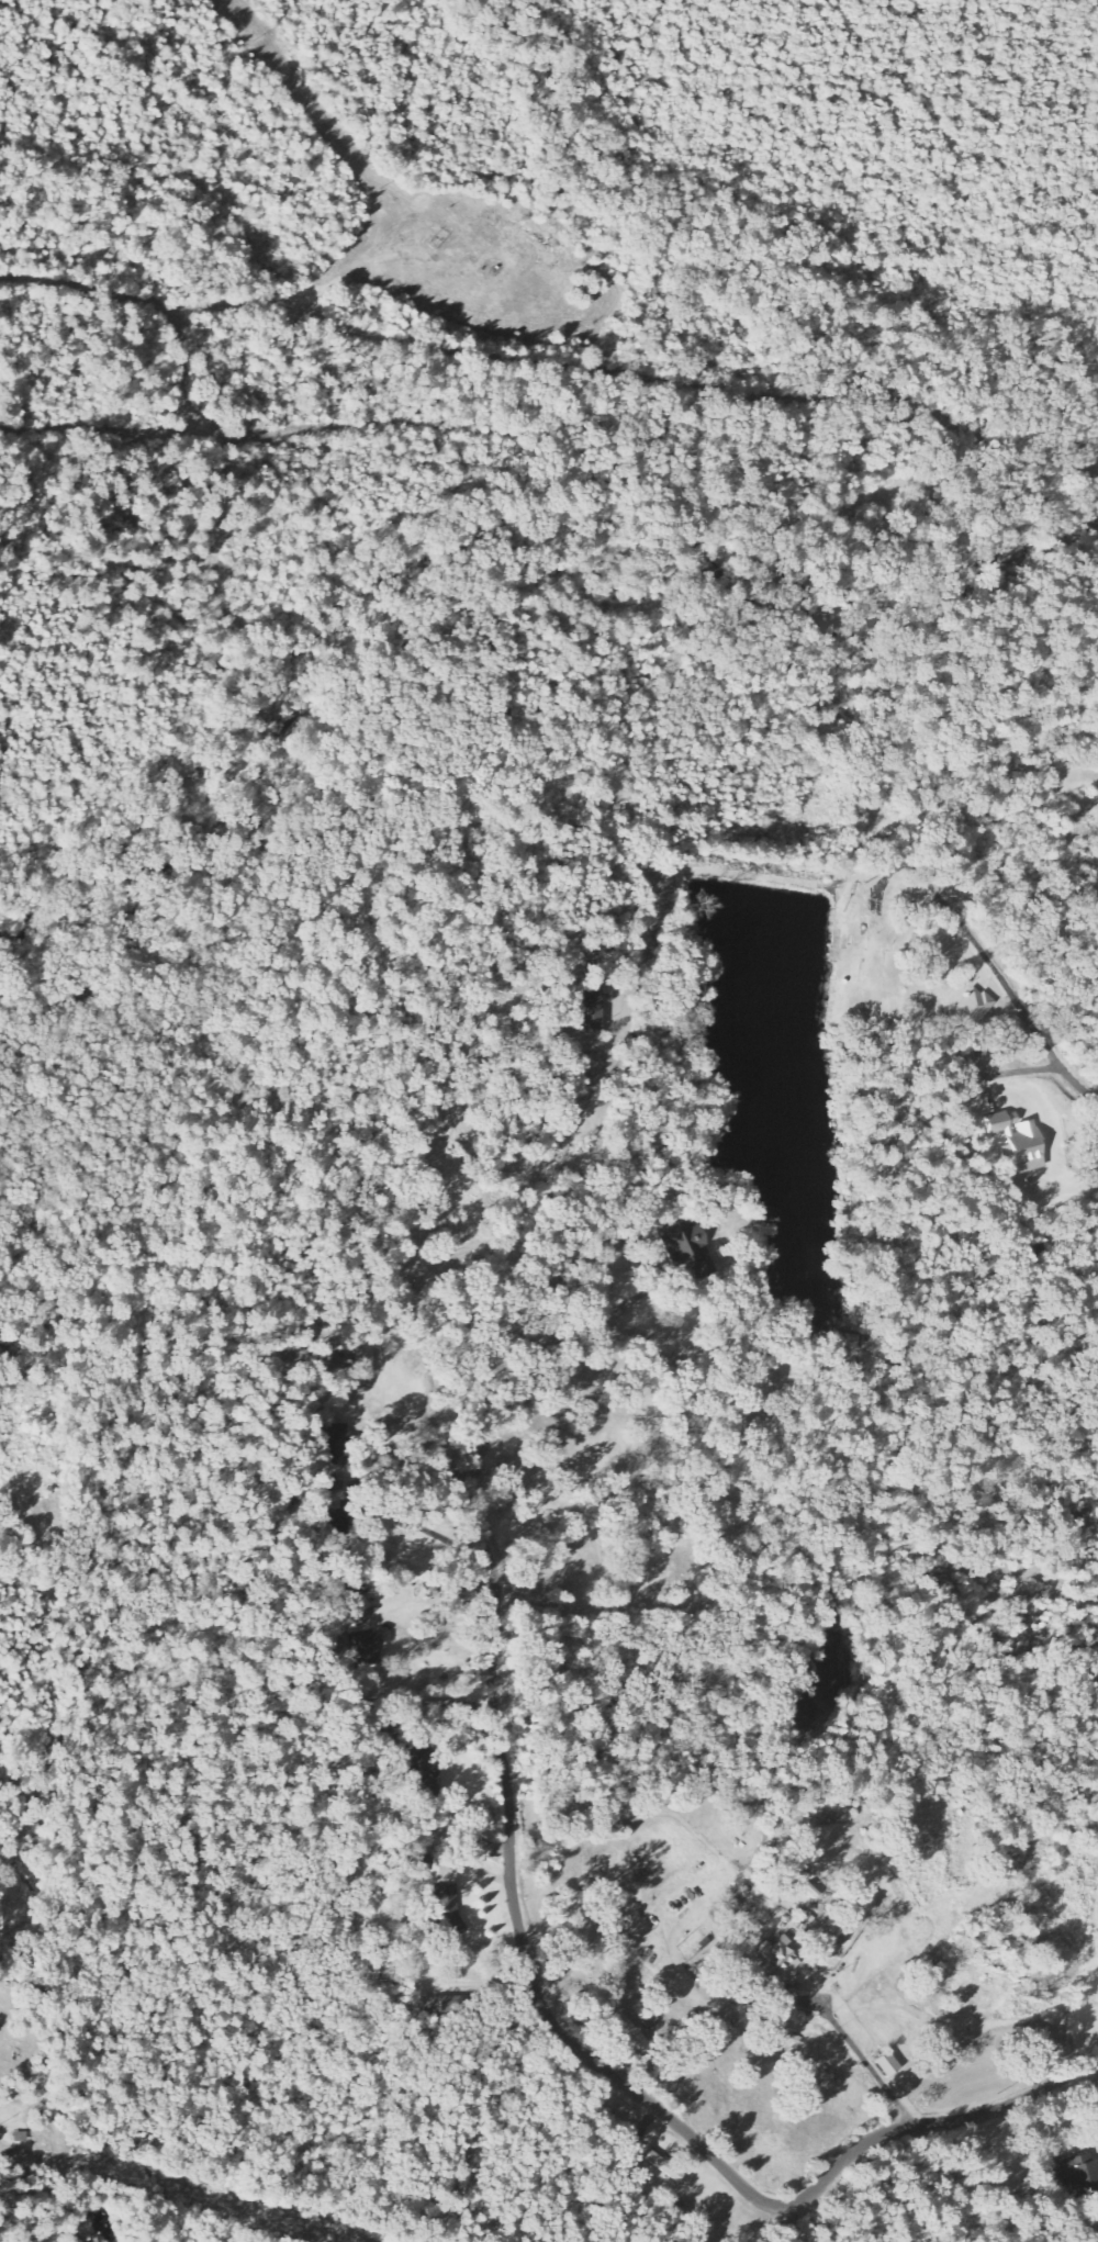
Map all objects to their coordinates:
road: (1015, 996)
building: (593, 1007)
building: (973, 1008)
building: (1019, 1142)
building: (539, 1291)
building: (367, 1360)
building: (335, 1444)
building: (326, 1488)
building: (337, 1524)
building: (354, 1601)
building: (367, 1648)
building: (423, 1773)
building: (419, 1862)
building: (449, 1912)
building: (777, 1961)
building: (432, 2007)
building: (631, 2032)
building: (888, 2065)
road: (626, 2085)
building: (662, 2165)
building: (1078, 2173)
road: (789, 2226)

